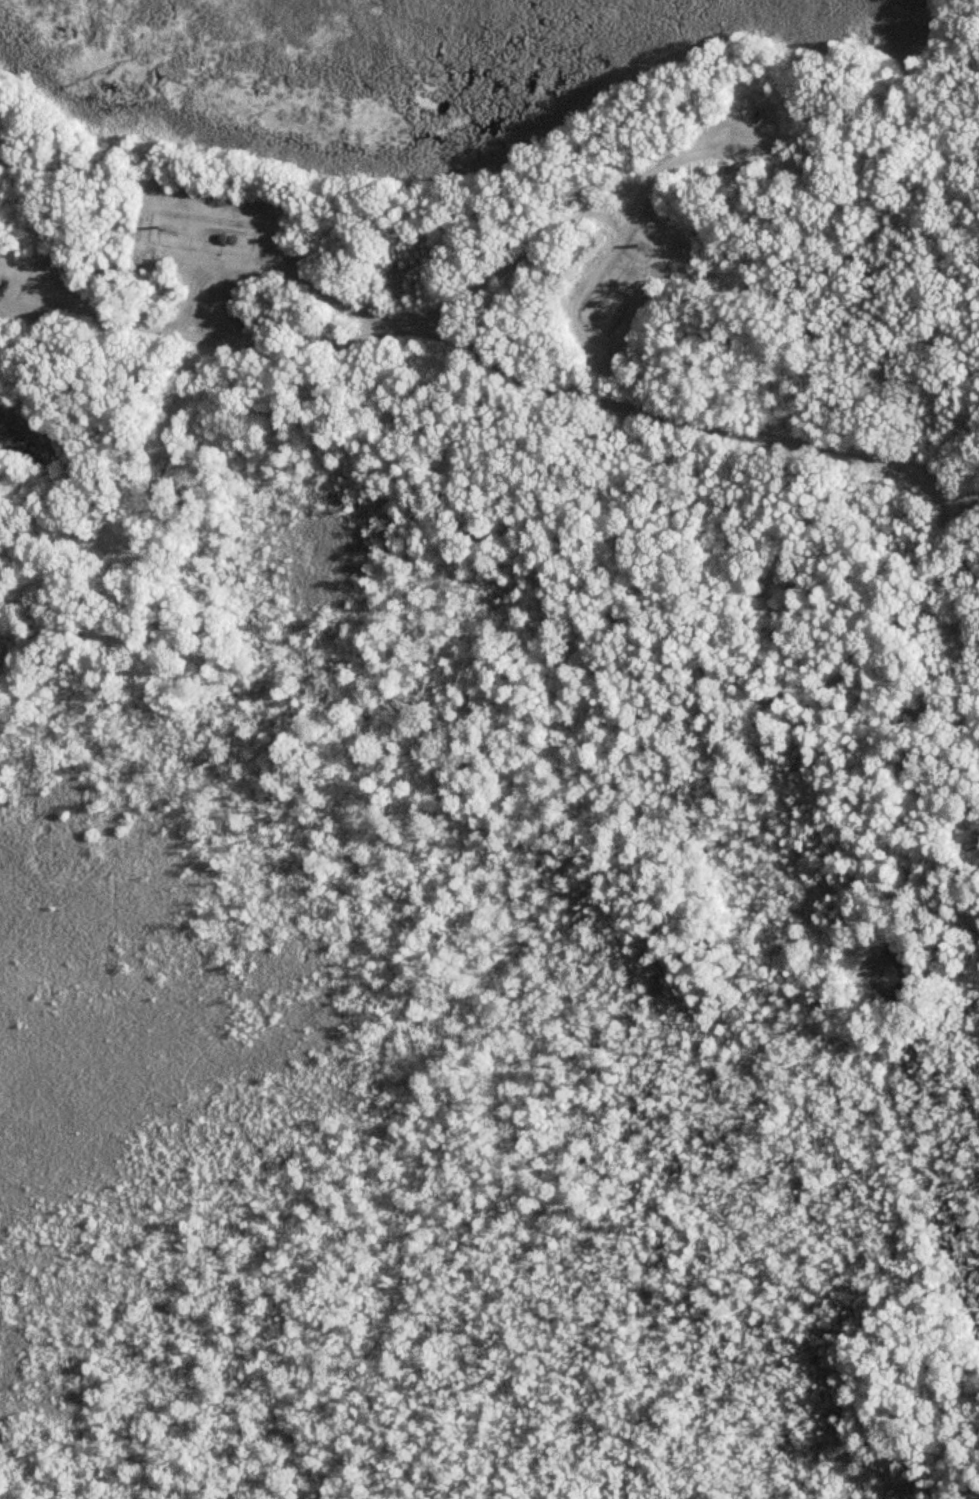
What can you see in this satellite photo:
road: (634, 194)
road: (513, 304)
road: (300, 324)
road: (580, 325)
road: (549, 399)
road: (885, 974)
road: (966, 1430)

